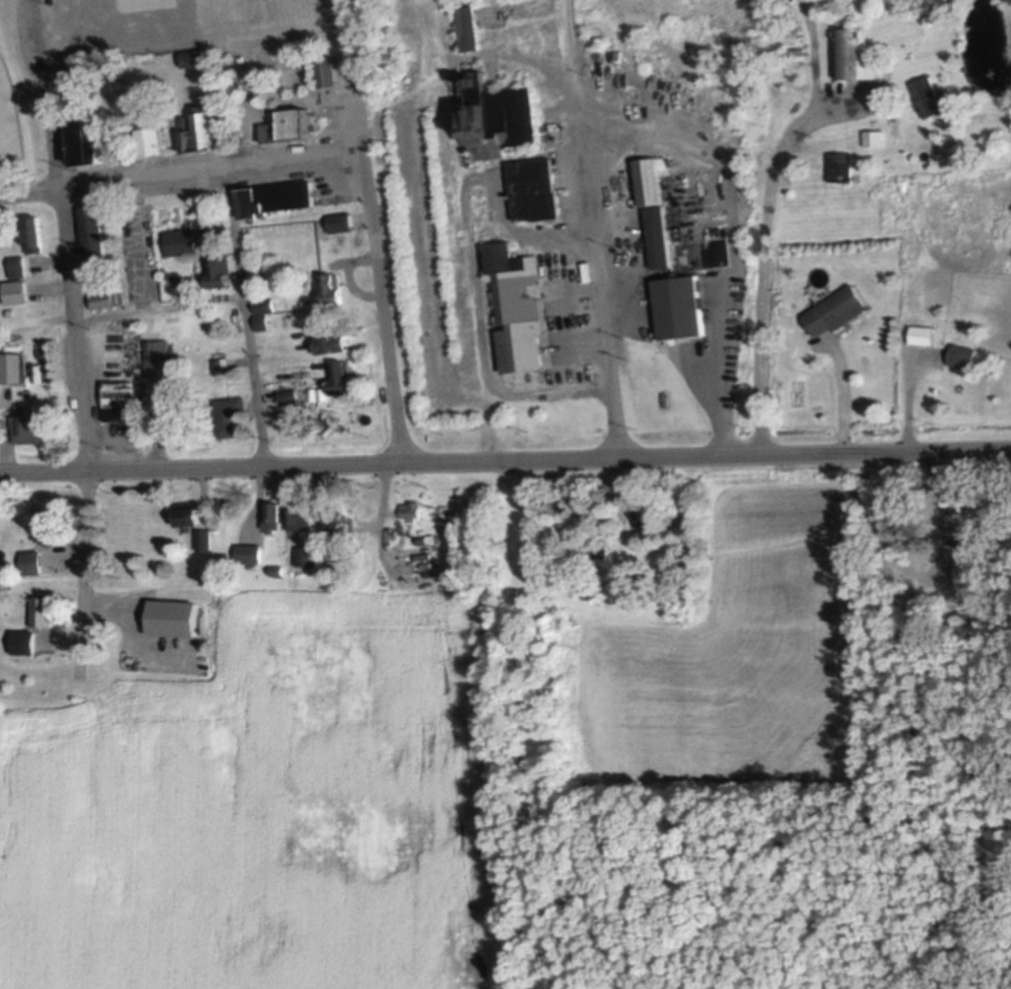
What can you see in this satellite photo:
building: (465, 26)
building: (851, 54)
building: (192, 56)
building: (324, 69)
building: (71, 71)
building: (926, 95)
building: (505, 118)
building: (287, 123)
building: (201, 131)
building: (873, 136)
building: (148, 139)
building: (83, 143)
building: (838, 165)
road: (179, 169)
building: (647, 179)
building: (533, 188)
building: (273, 196)
building: (478, 201)
building: (338, 221)
road: (594, 228)
road: (371, 231)
building: (30, 234)
building: (91, 234)
building: (657, 236)
road: (765, 264)
building: (15, 265)
building: (216, 271)
building: (175, 281)
building: (327, 287)
building: (14, 291)
building: (102, 298)
building: (262, 304)
building: (678, 306)
road: (159, 308)
building: (515, 308)
building: (834, 310)
road: (246, 312)
building: (922, 333)
road: (76, 336)
building: (329, 343)
building: (960, 354)
building: (156, 355)
building: (11, 366)
building: (338, 376)
building: (168, 393)
building: (287, 395)
road: (845, 398)
building: (119, 399)
road: (907, 407)
building: (229, 414)
building: (27, 427)
road: (505, 457)
building: (185, 512)
building: (297, 515)
building: (271, 516)
building: (332, 518)
building: (643, 518)
building: (44, 527)
building: (203, 538)
building: (247, 552)
building: (305, 555)
building: (30, 561)
building: (975, 571)
building: (41, 608)
building: (171, 617)
building: (21, 639)

